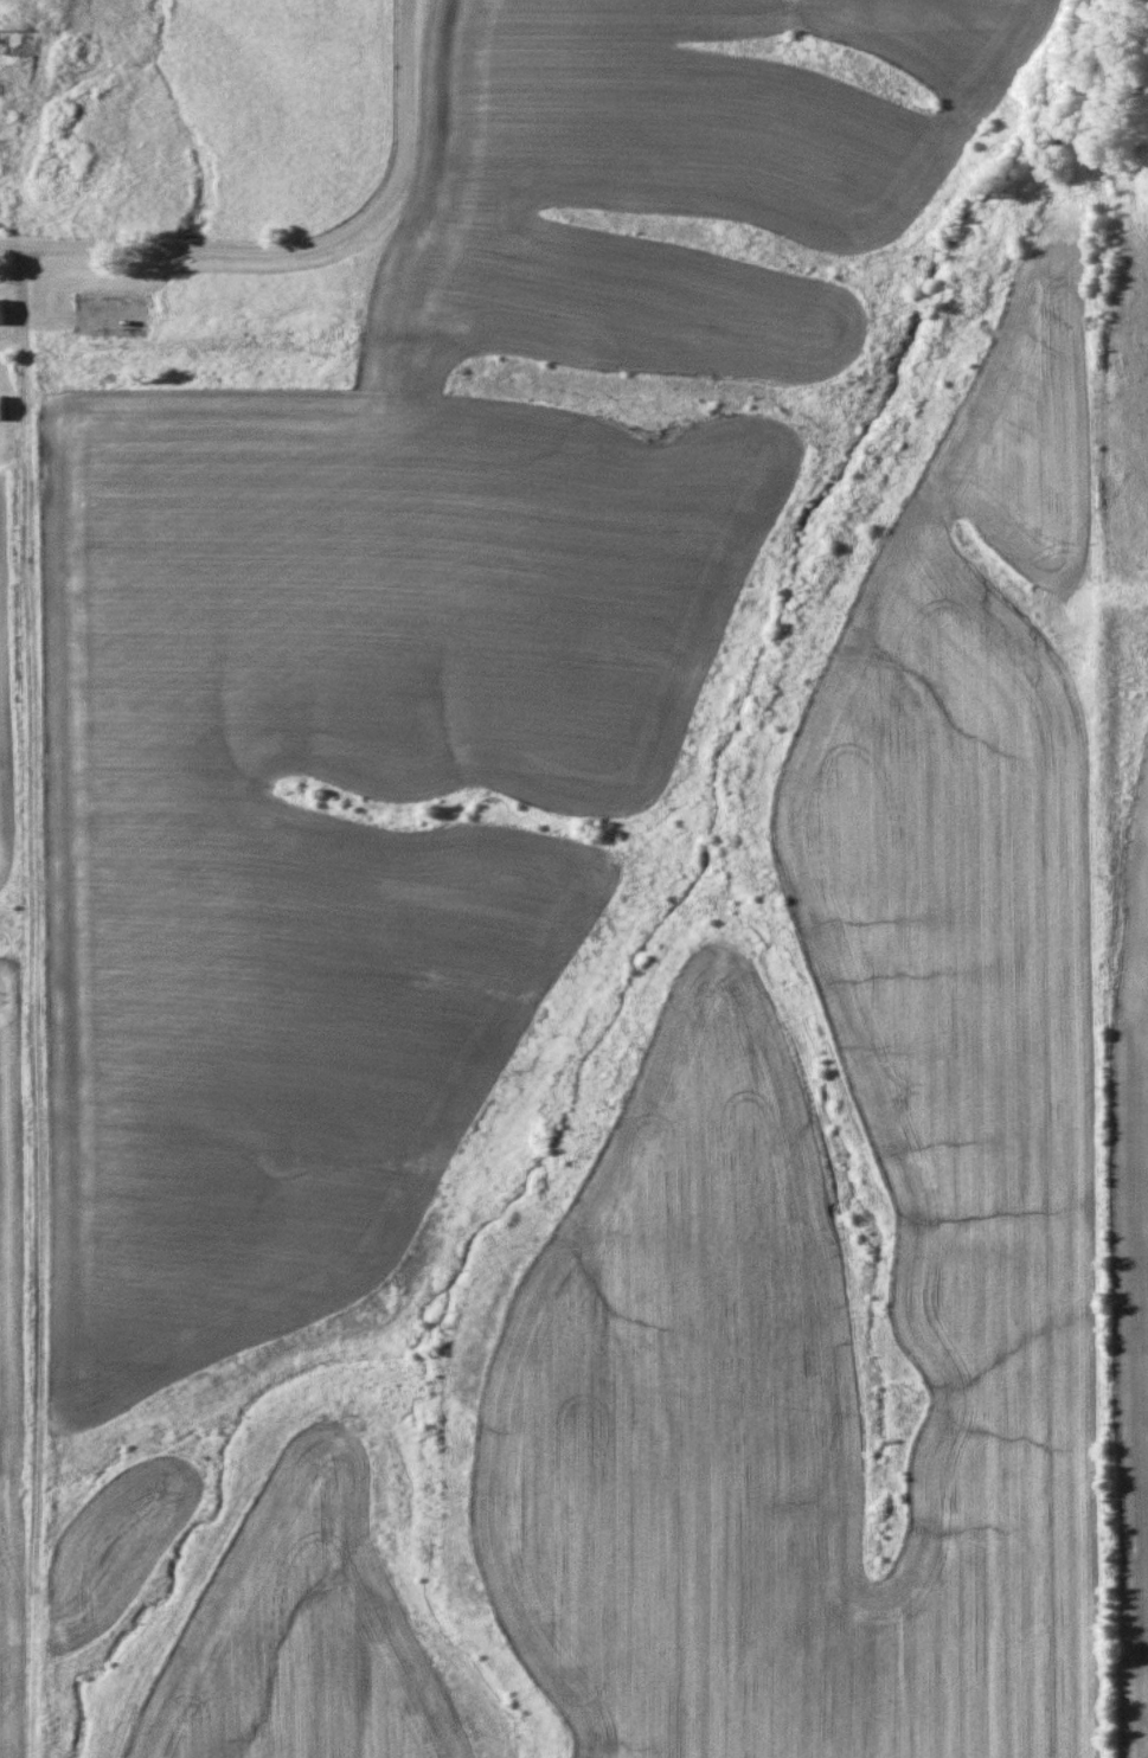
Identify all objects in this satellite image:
road: (302, 245)
building: (5, 309)
building: (5, 405)

